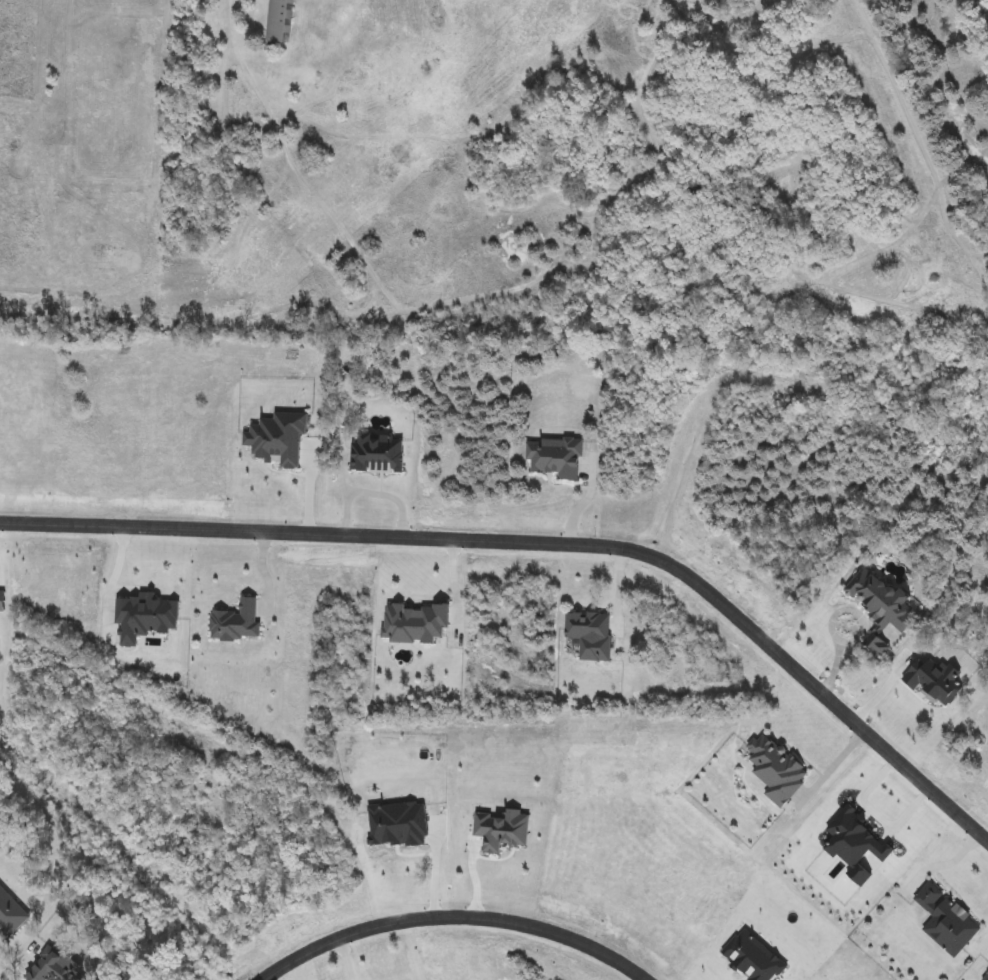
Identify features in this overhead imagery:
road: (232, 21)
building: (277, 22)
road: (546, 541)
road: (109, 582)
road: (835, 614)
road: (831, 765)
road: (479, 877)
road: (454, 916)

